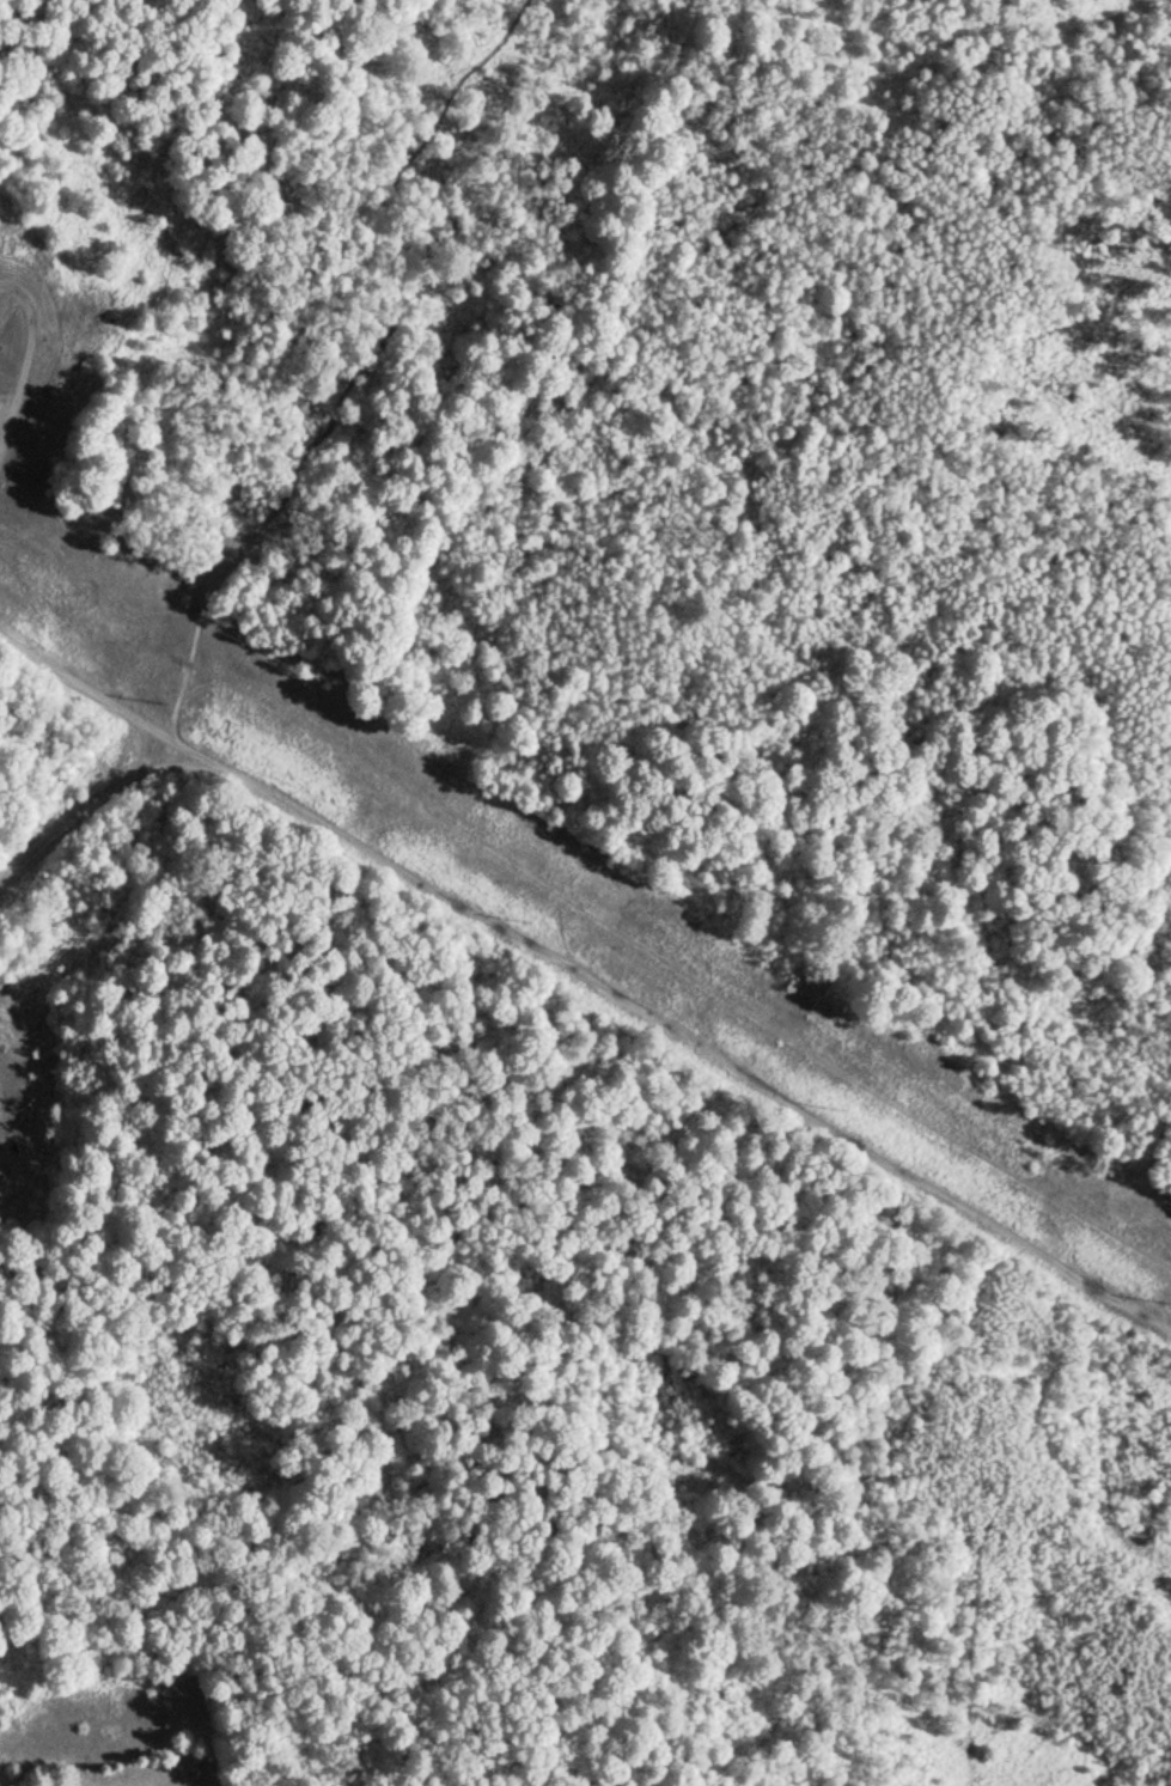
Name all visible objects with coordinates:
road: (25, 356)
road: (69, 677)
road: (160, 732)
road: (172, 766)
road: (87, 810)
road: (305, 812)

